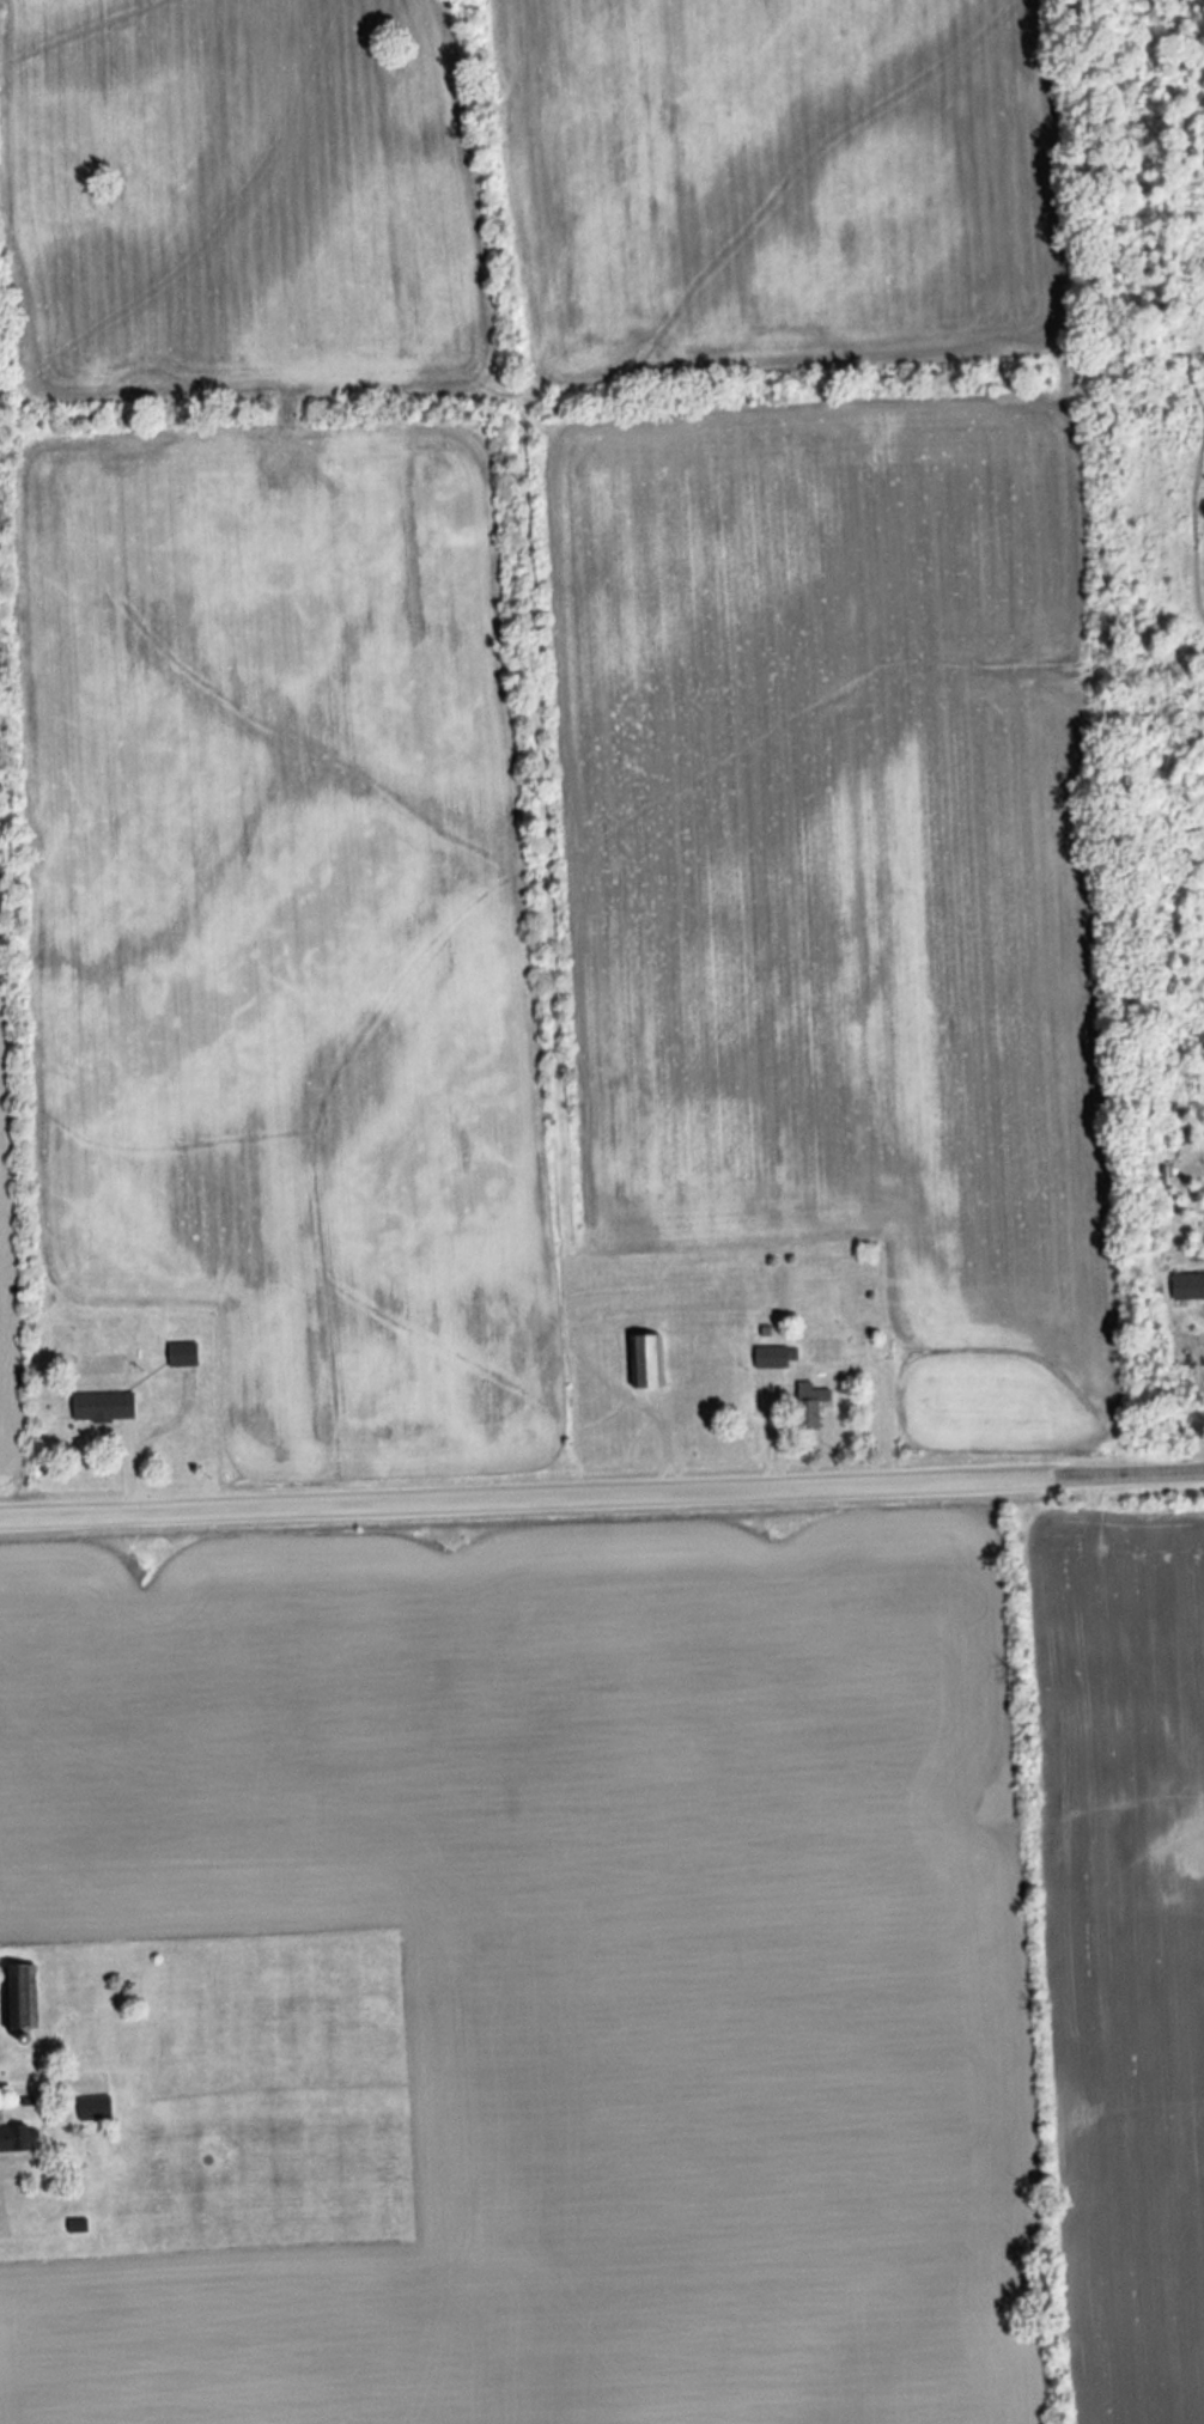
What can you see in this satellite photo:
building: (180, 1354)
building: (771, 1357)
building: (641, 1362)
building: (98, 1406)
building: (807, 1406)
road: (1129, 1474)
road: (527, 1498)
building: (18, 1997)
building: (22, 2139)
building: (73, 2225)

